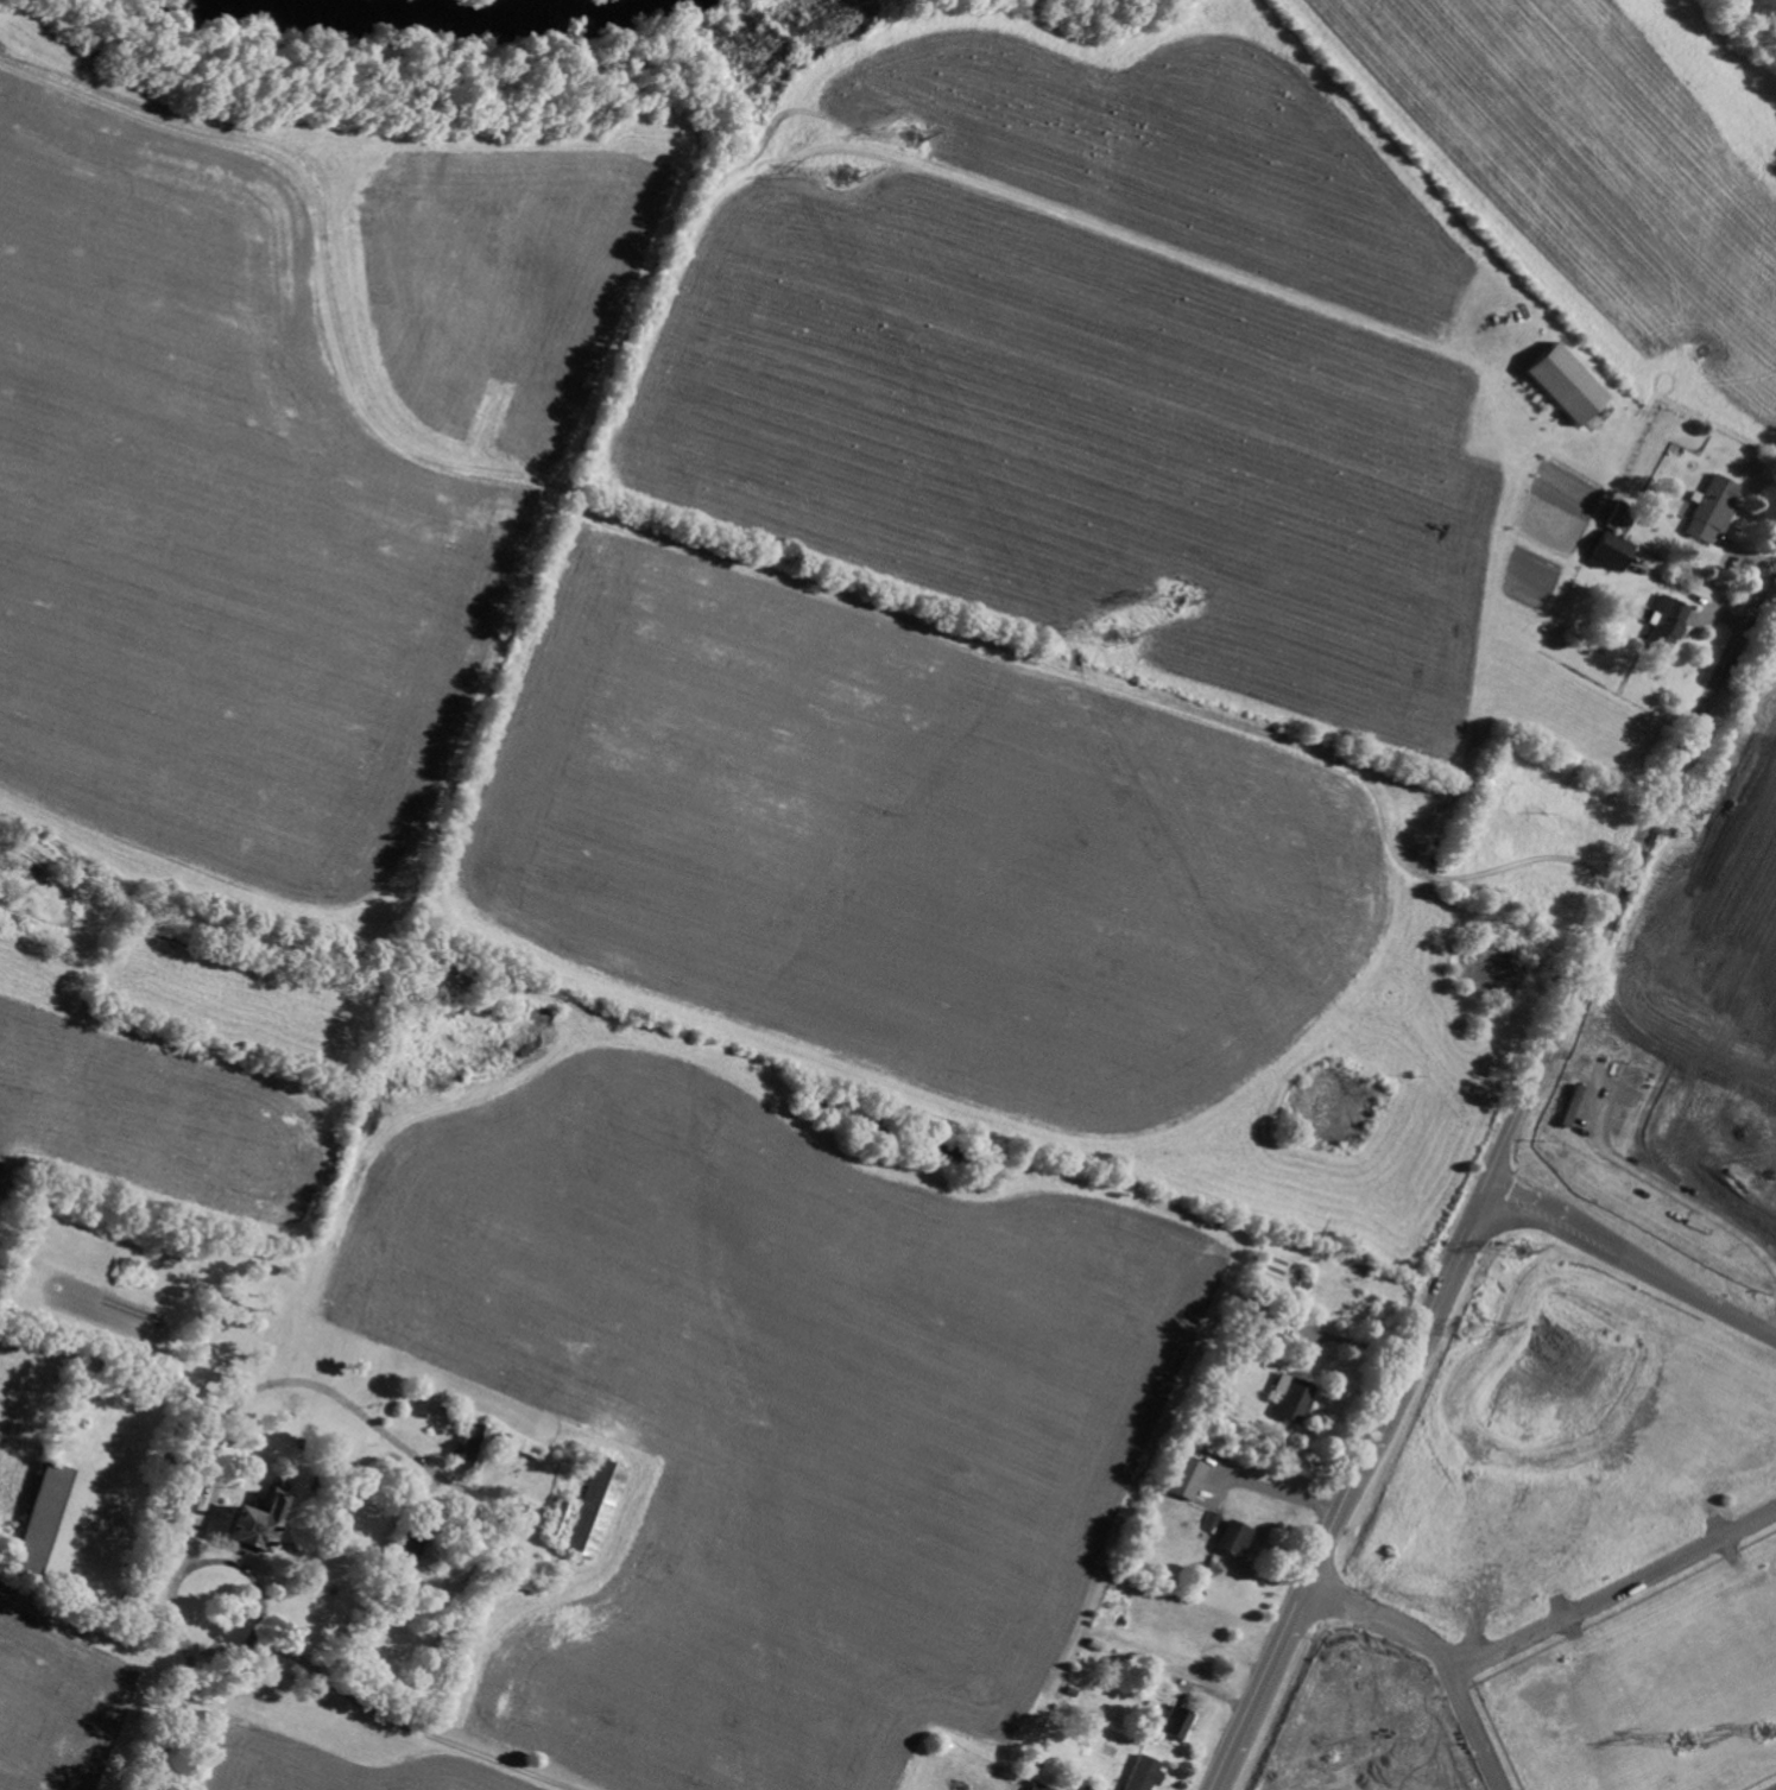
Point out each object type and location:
river: (413, 19)
power tower: (910, 135)
power tower: (848, 178)
building: (1567, 384)
building: (1712, 510)
building: (1619, 519)
building: (1611, 551)
power tower: (1178, 597)
building: (1667, 622)
power tower: (1119, 647)
road: (1491, 1178)
power tower: (1524, 1252)
road: (1631, 1261)
power tower: (1483, 1339)
building: (1294, 1397)
building: (474, 1447)
building: (1187, 1476)
road: (1284, 1492)
road: (207, 1493)
building: (596, 1506)
building: (560, 1519)
building: (1212, 1520)
building: (257, 1524)
building: (1233, 1537)
road: (1616, 1590)
road: (264, 1599)
road: (1442, 1655)
building: (1177, 1722)
road: (410, 1726)
power tower: (1769, 1739)
power tower: (1694, 1759)
building: (1145, 1772)
building: (1041, 1786)

